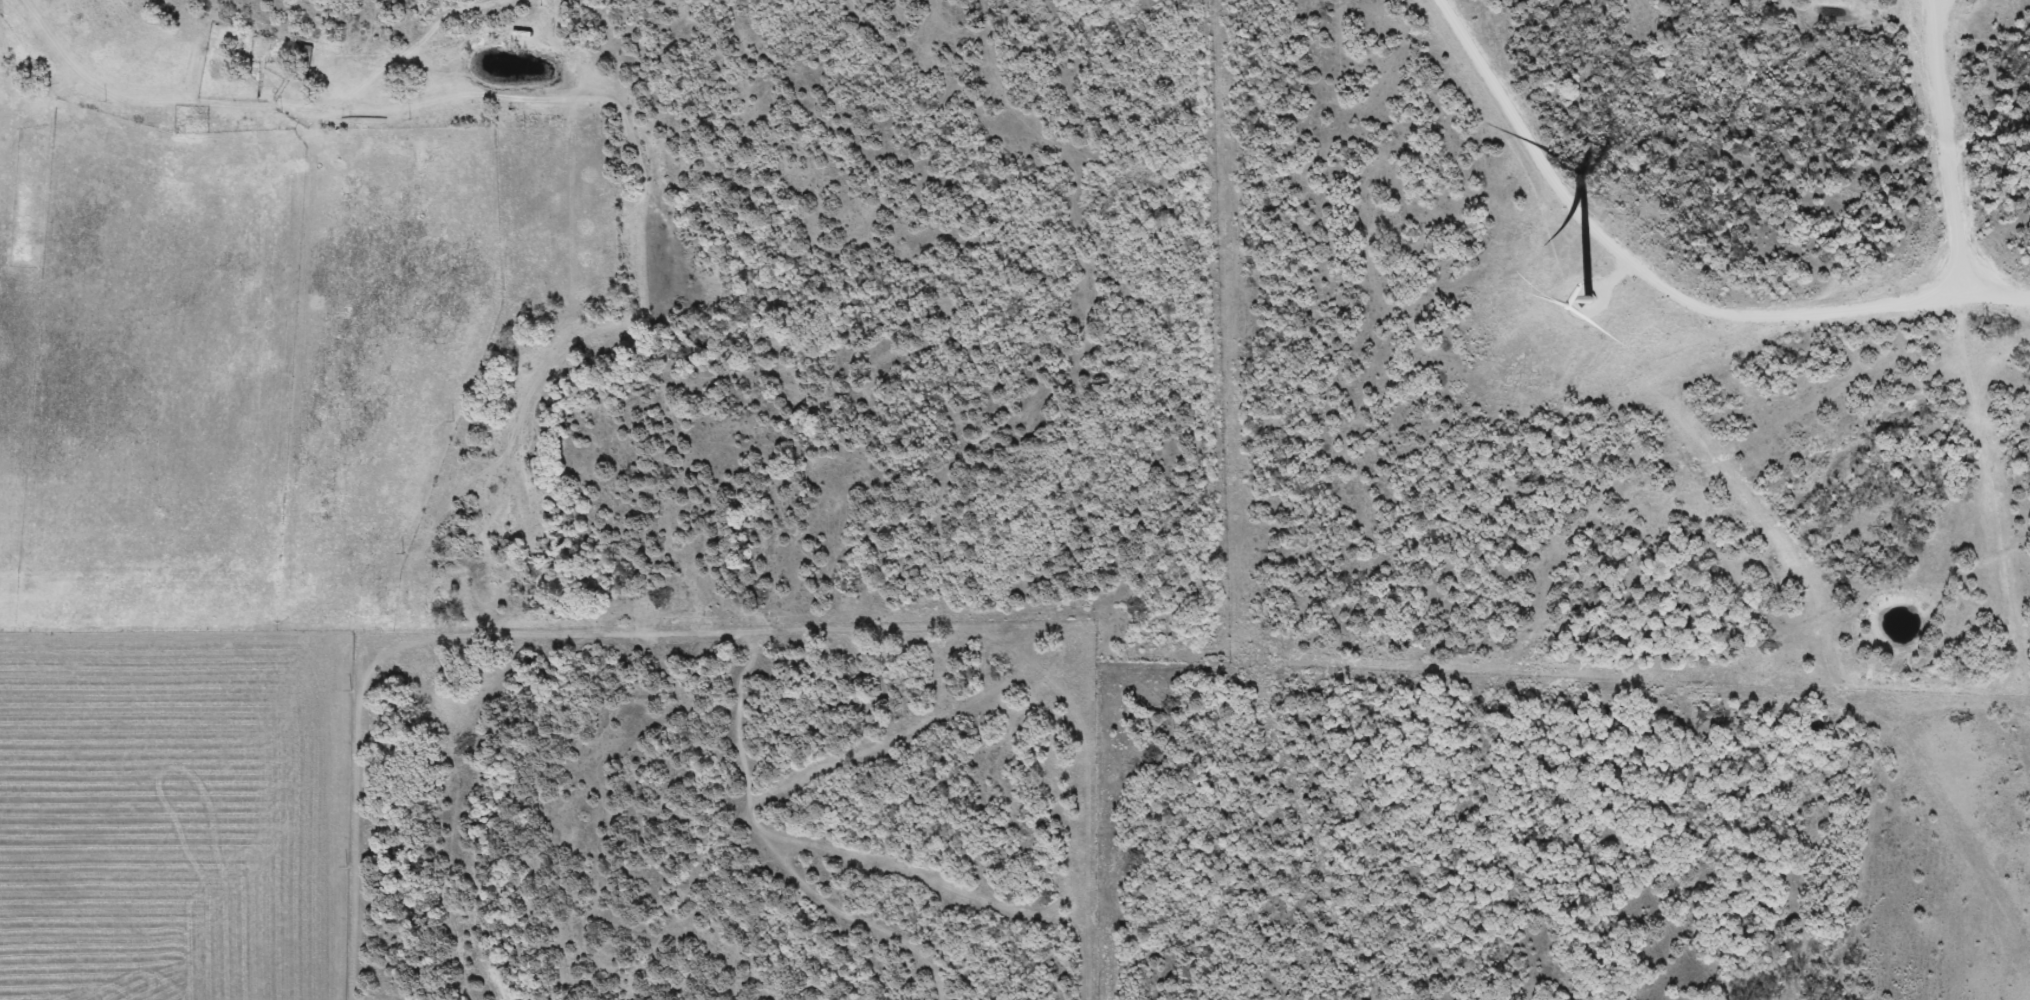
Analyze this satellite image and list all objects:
building: (303, 62)
road: (252, 102)
road: (1945, 144)
road: (1672, 280)
wind turbine: (1589, 298)

